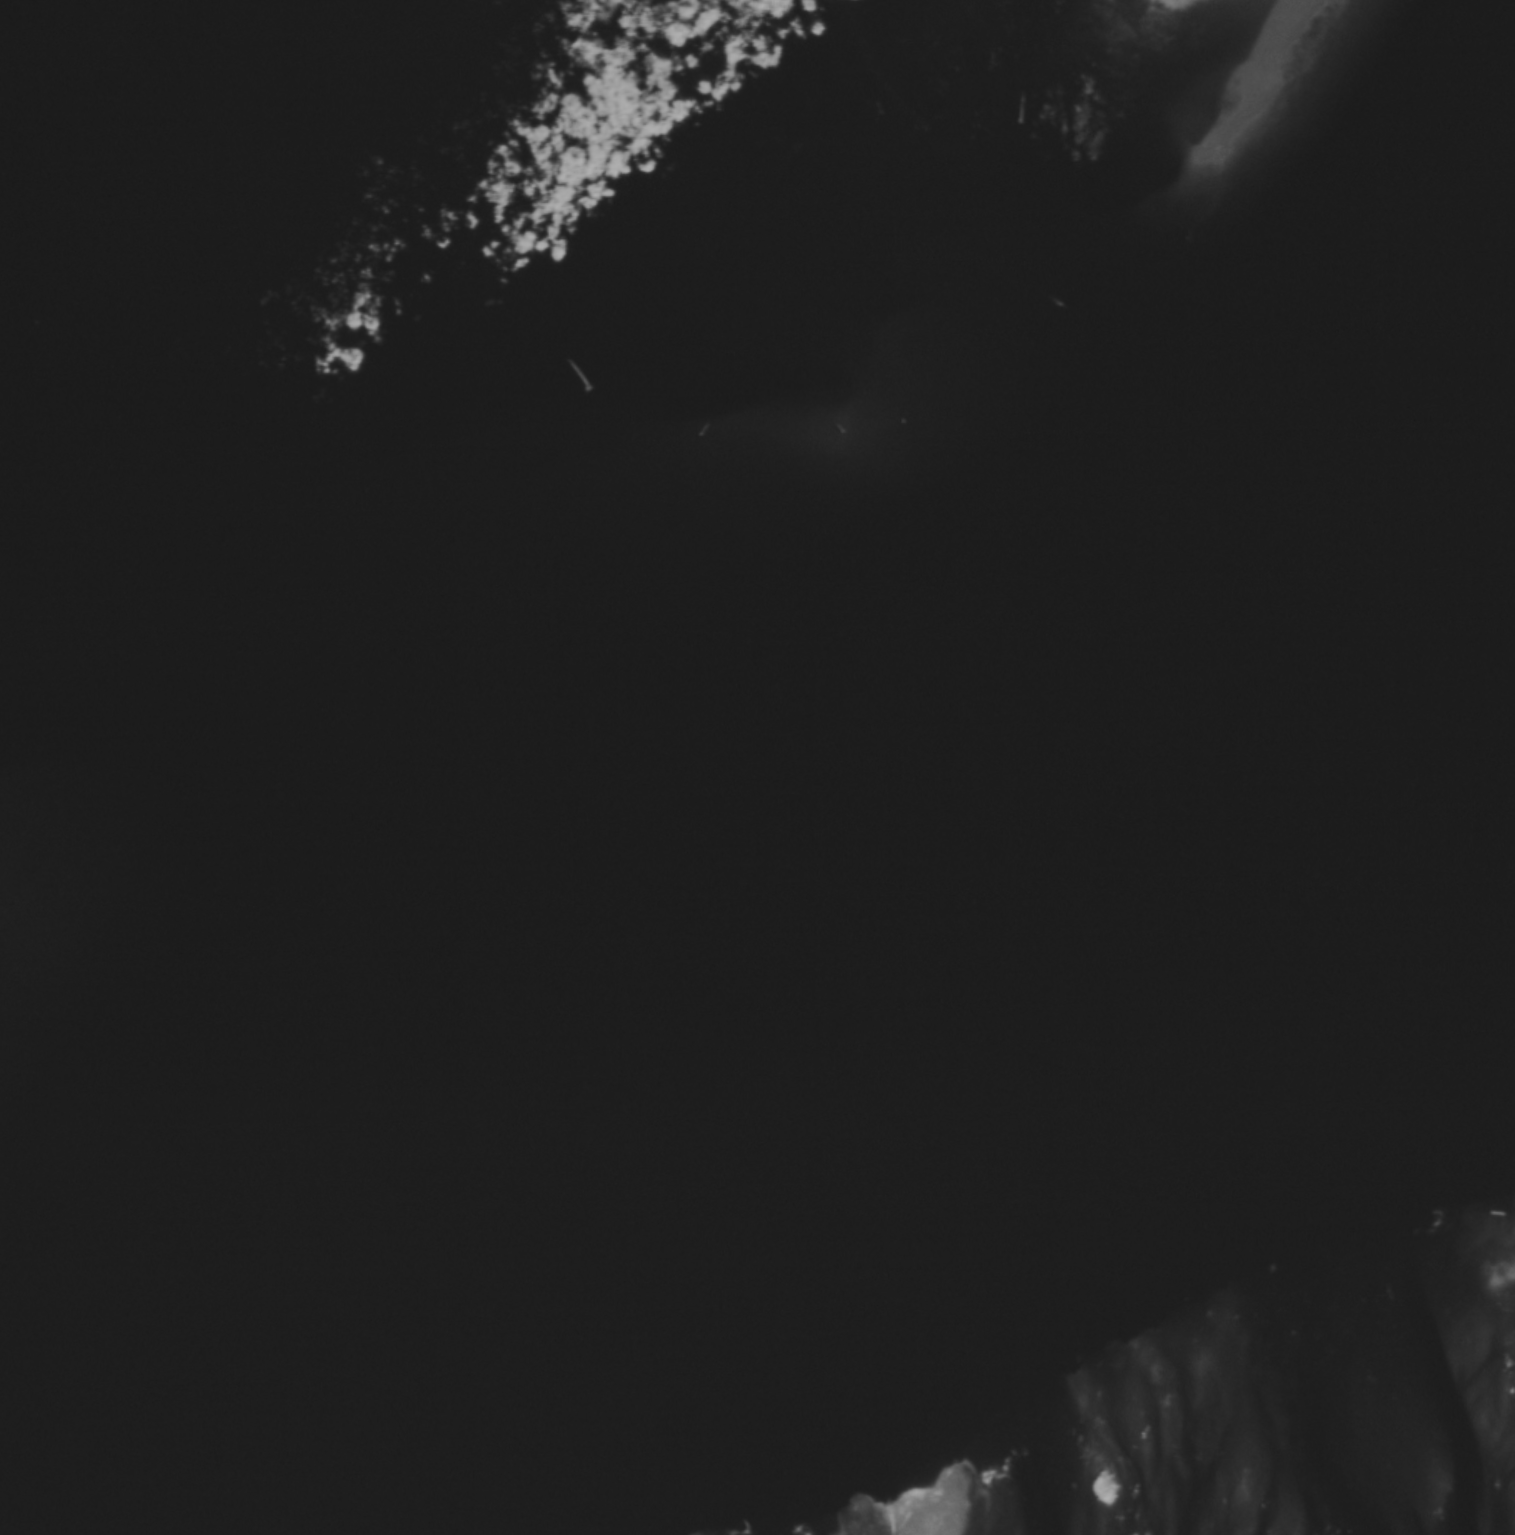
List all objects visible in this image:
river: (1513, 1529)

